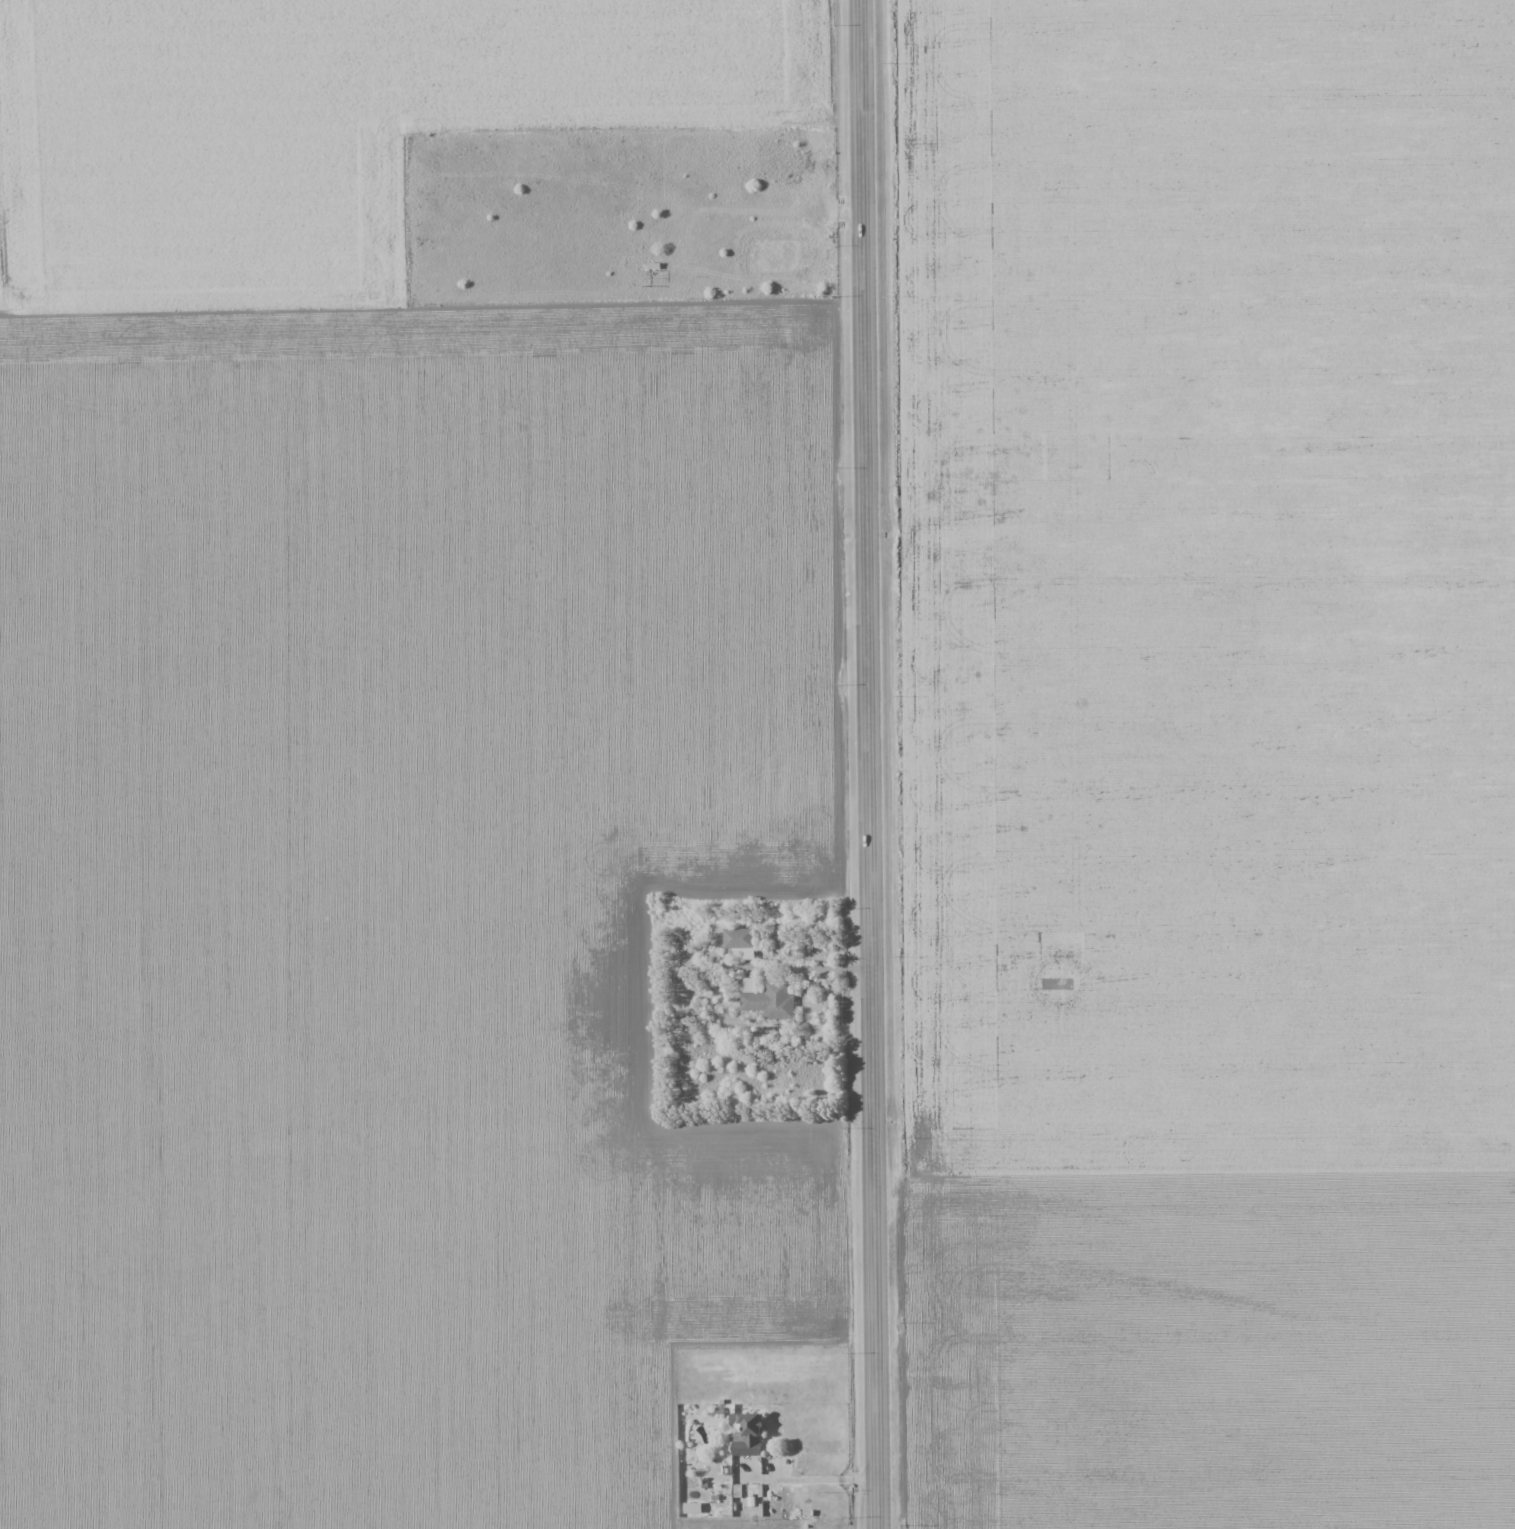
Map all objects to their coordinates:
road: (876, 764)
building: (736, 938)
building: (767, 998)
road: (762, 1386)
building: (744, 1435)

